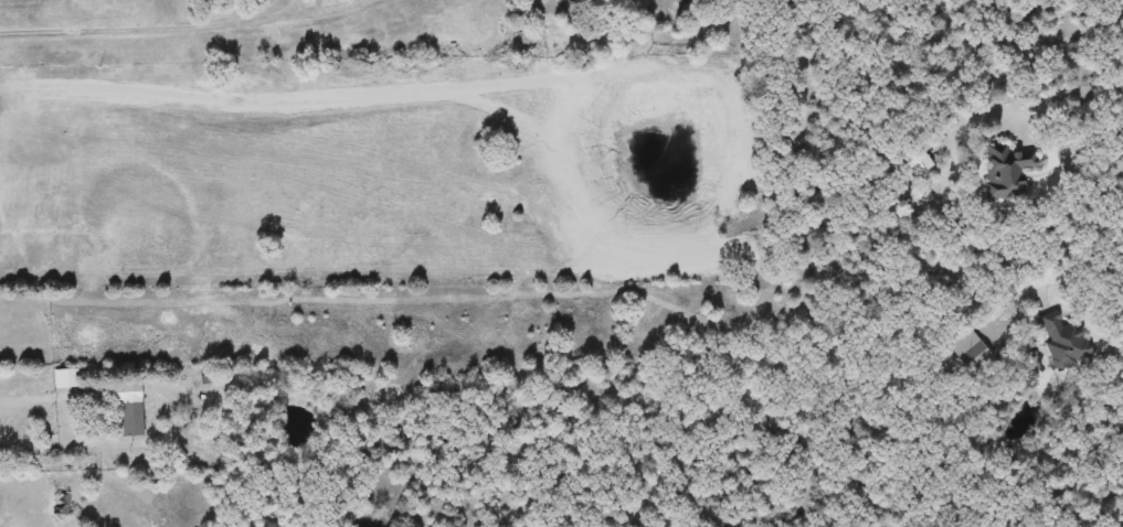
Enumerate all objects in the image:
road: (184, 26)
road: (1063, 114)
building: (917, 160)
building: (1008, 171)
road: (1081, 276)
building: (1064, 340)
building: (971, 352)
road: (59, 398)
building: (130, 419)
building: (61, 505)

